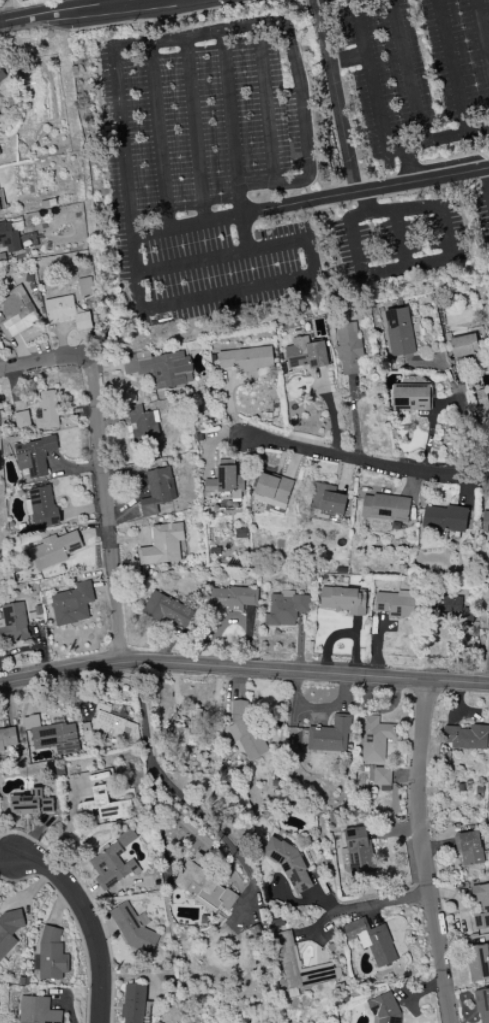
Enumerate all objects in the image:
road: (115, 0)
road: (118, 0)
road: (58, 12)
road: (482, 27)
road: (348, 60)
road: (453, 66)
road: (404, 71)
building: (1, 77)
road: (372, 83)
road: (335, 97)
road: (267, 105)
road: (233, 124)
road: (196, 131)
road: (304, 135)
road: (455, 135)
road: (160, 137)
parking lot: (295, 153)
road: (407, 156)
road: (488, 173)
building: (1, 203)
road: (310, 203)
road: (367, 203)
road: (487, 204)
road: (420, 206)
road: (246, 235)
building: (9, 238)
building: (85, 287)
road: (136, 291)
building: (399, 332)
building: (465, 347)
building: (348, 349)
building: (306, 353)
building: (246, 359)
building: (159, 368)
building: (410, 398)
building: (482, 407)
building: (47, 411)
building: (22, 420)
road: (461, 422)
building: (143, 425)
building: (34, 456)
road: (361, 462)
road: (101, 467)
building: (229, 479)
building: (157, 491)
building: (272, 491)
building: (327, 499)
building: (43, 507)
building: (385, 508)
building: (445, 518)
building: (485, 521)
building: (162, 545)
building: (54, 550)
building: (232, 598)
building: (342, 600)
building: (72, 604)
building: (397, 604)
building: (285, 609)
building: (166, 610)
building: (14, 623)
building: (488, 630)
road: (243, 671)
building: (113, 725)
building: (245, 730)
building: (193, 731)
building: (52, 735)
building: (330, 736)
building: (466, 737)
building: (7, 738)
building: (374, 739)
building: (382, 778)
road: (178, 790)
building: (31, 804)
building: (106, 806)
building: (126, 838)
building: (469, 848)
building: (357, 851)
road: (425, 853)
building: (111, 866)
building: (204, 885)
road: (378, 905)
building: (481, 906)
road: (89, 920)
building: (134, 929)
building: (9, 931)
building: (372, 941)
building: (51, 956)
building: (478, 963)
building: (296, 966)
building: (133, 1003)
building: (482, 1006)
building: (383, 1009)
building: (37, 1011)

